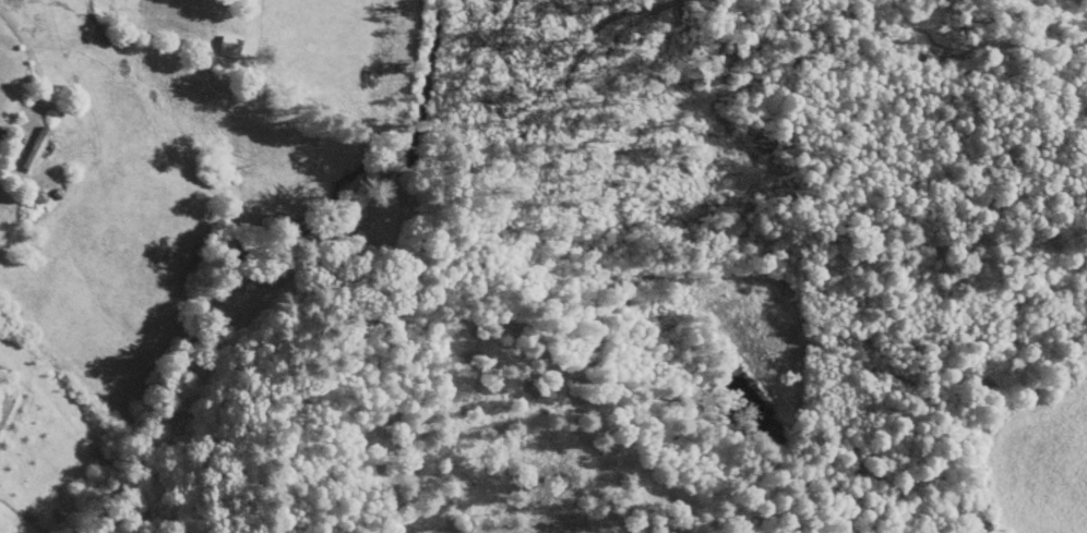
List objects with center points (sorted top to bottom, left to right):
building: (229, 1)
building: (223, 48)
road: (23, 49)
building: (32, 150)

